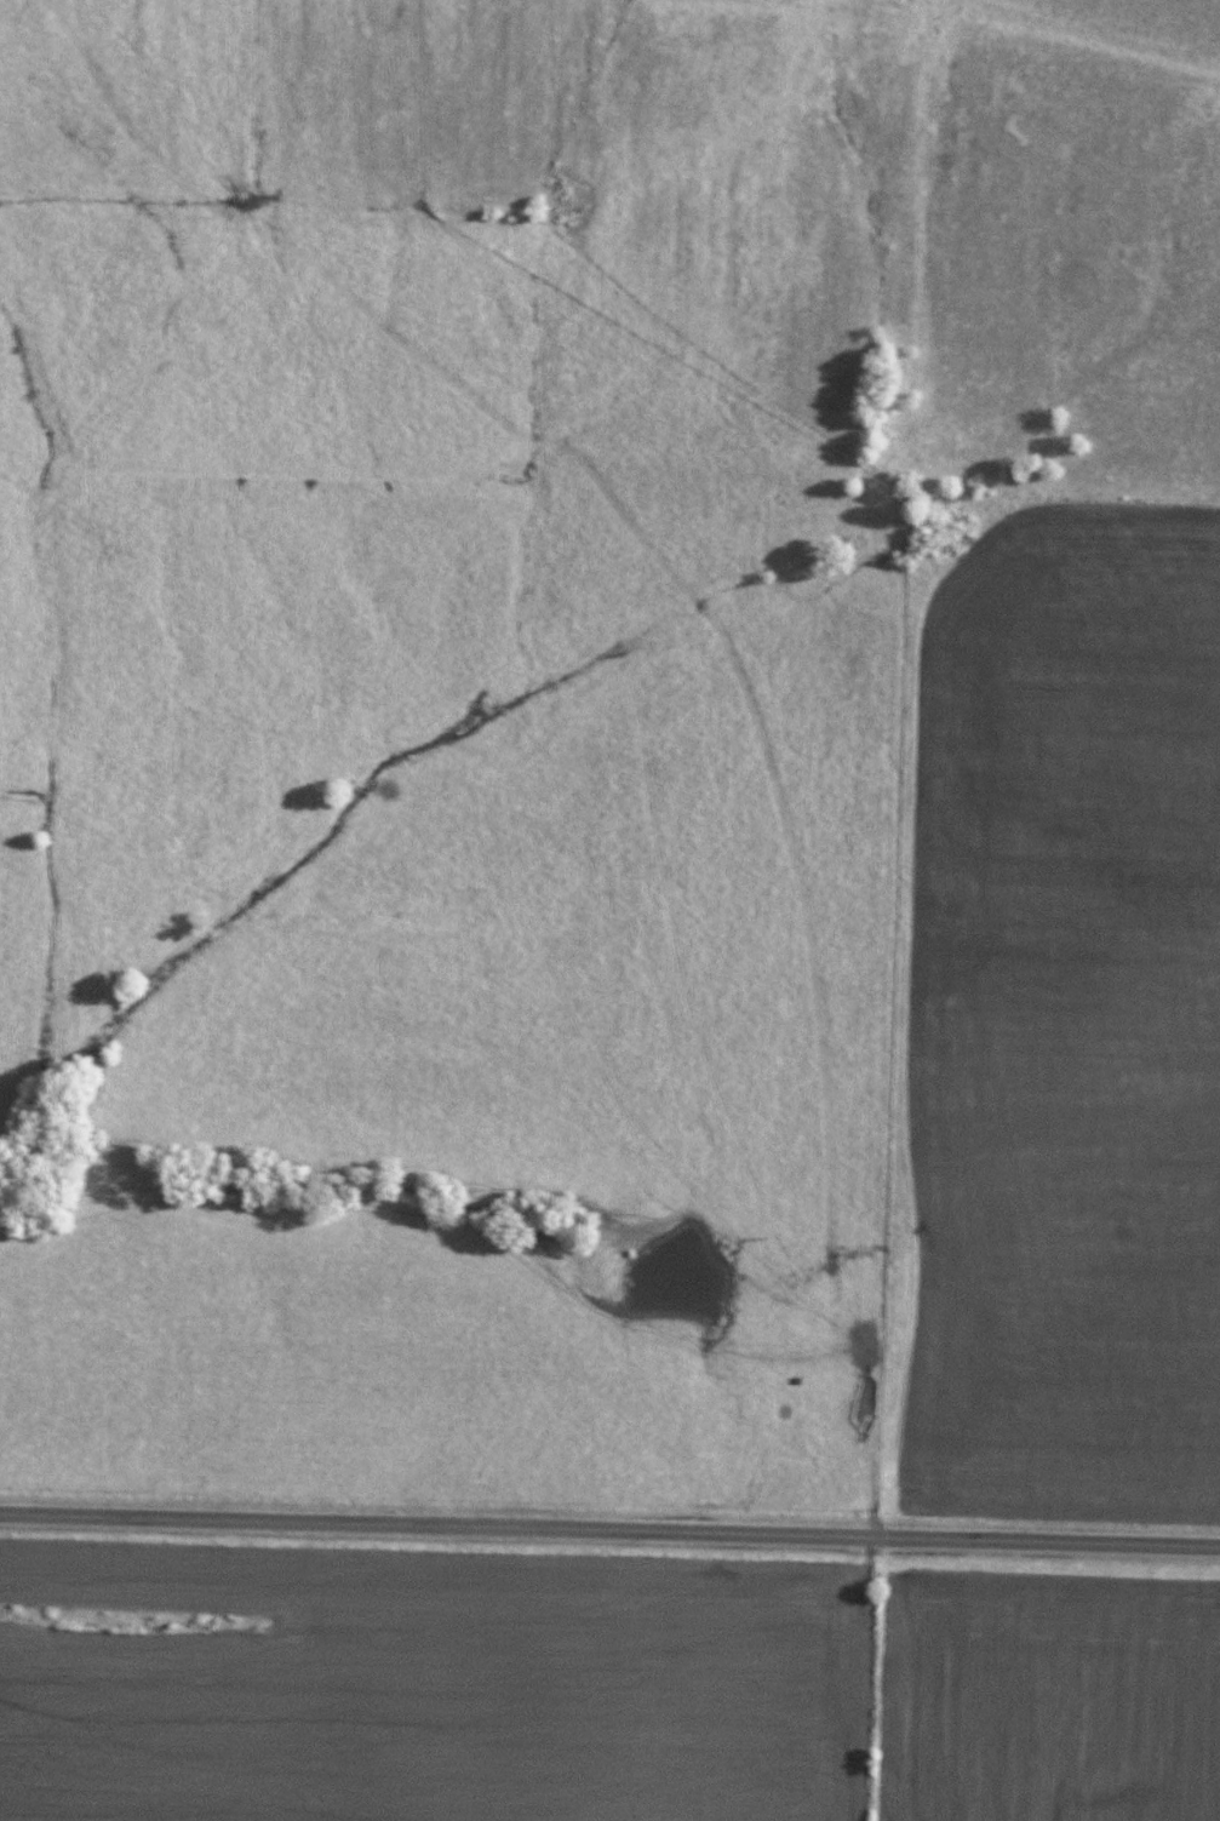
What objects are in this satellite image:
road: (609, 1530)

